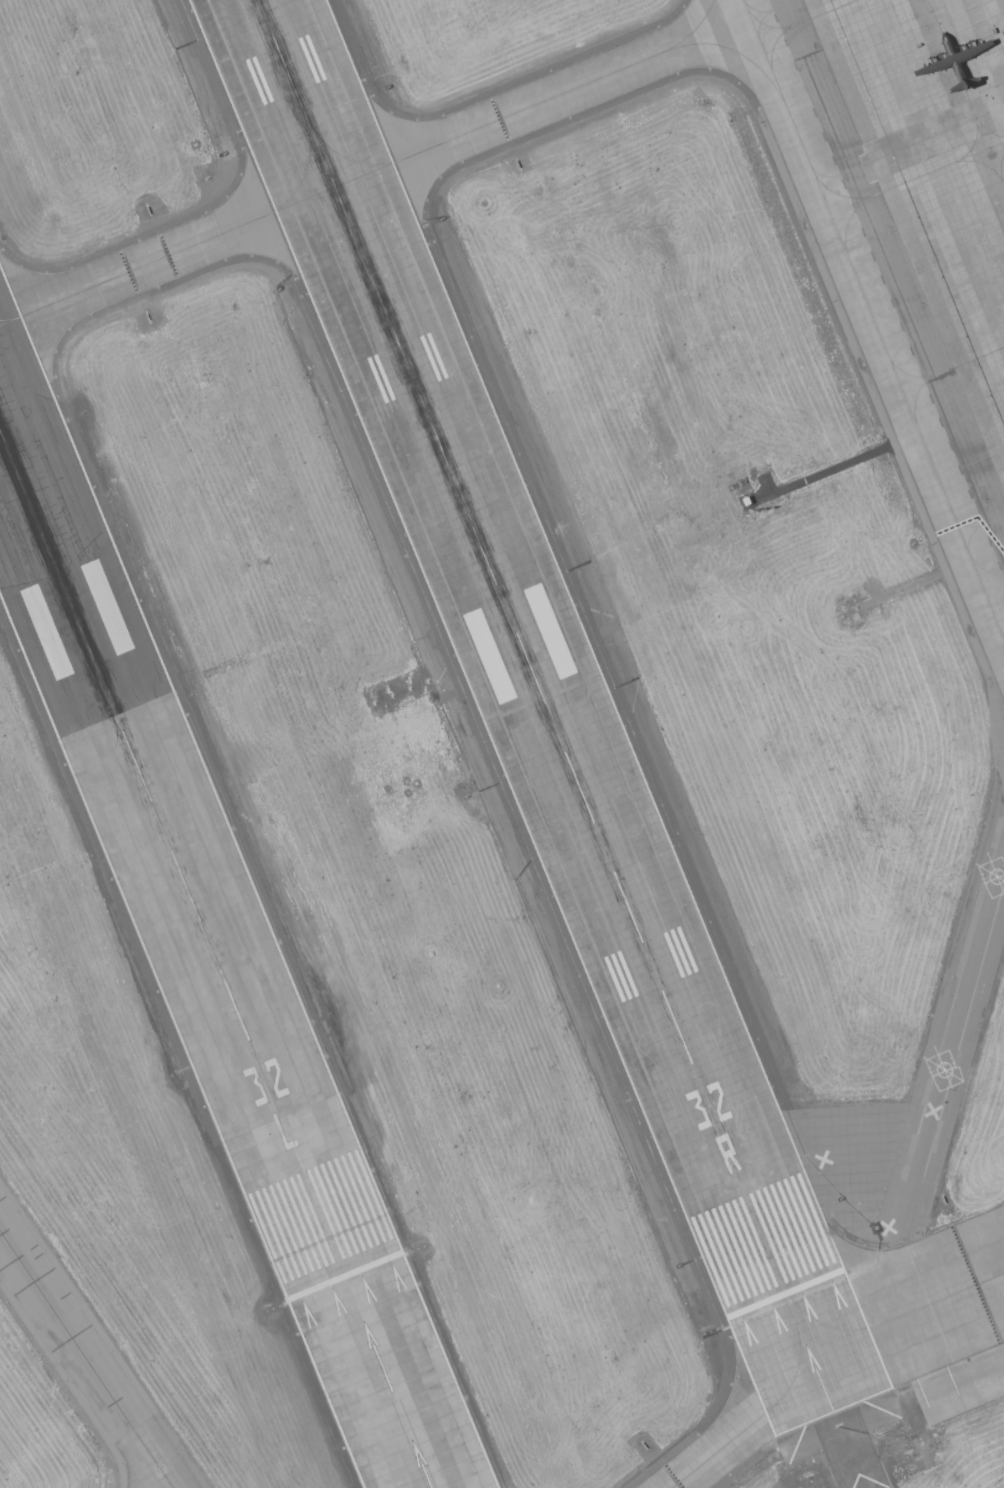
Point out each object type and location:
airport taxiway: (375, 172)
airport apron: (925, 192)
airport taxiway: (874, 318)
airport runway: (546, 705)
airport: (502, 744)
airport runway: (174, 852)
airport taxiway: (931, 1084)
airport taxiway: (907, 1315)
airport taxiway: (87, 1359)
airport taxiway: (385, 1371)
airport taxiway: (750, 1427)

